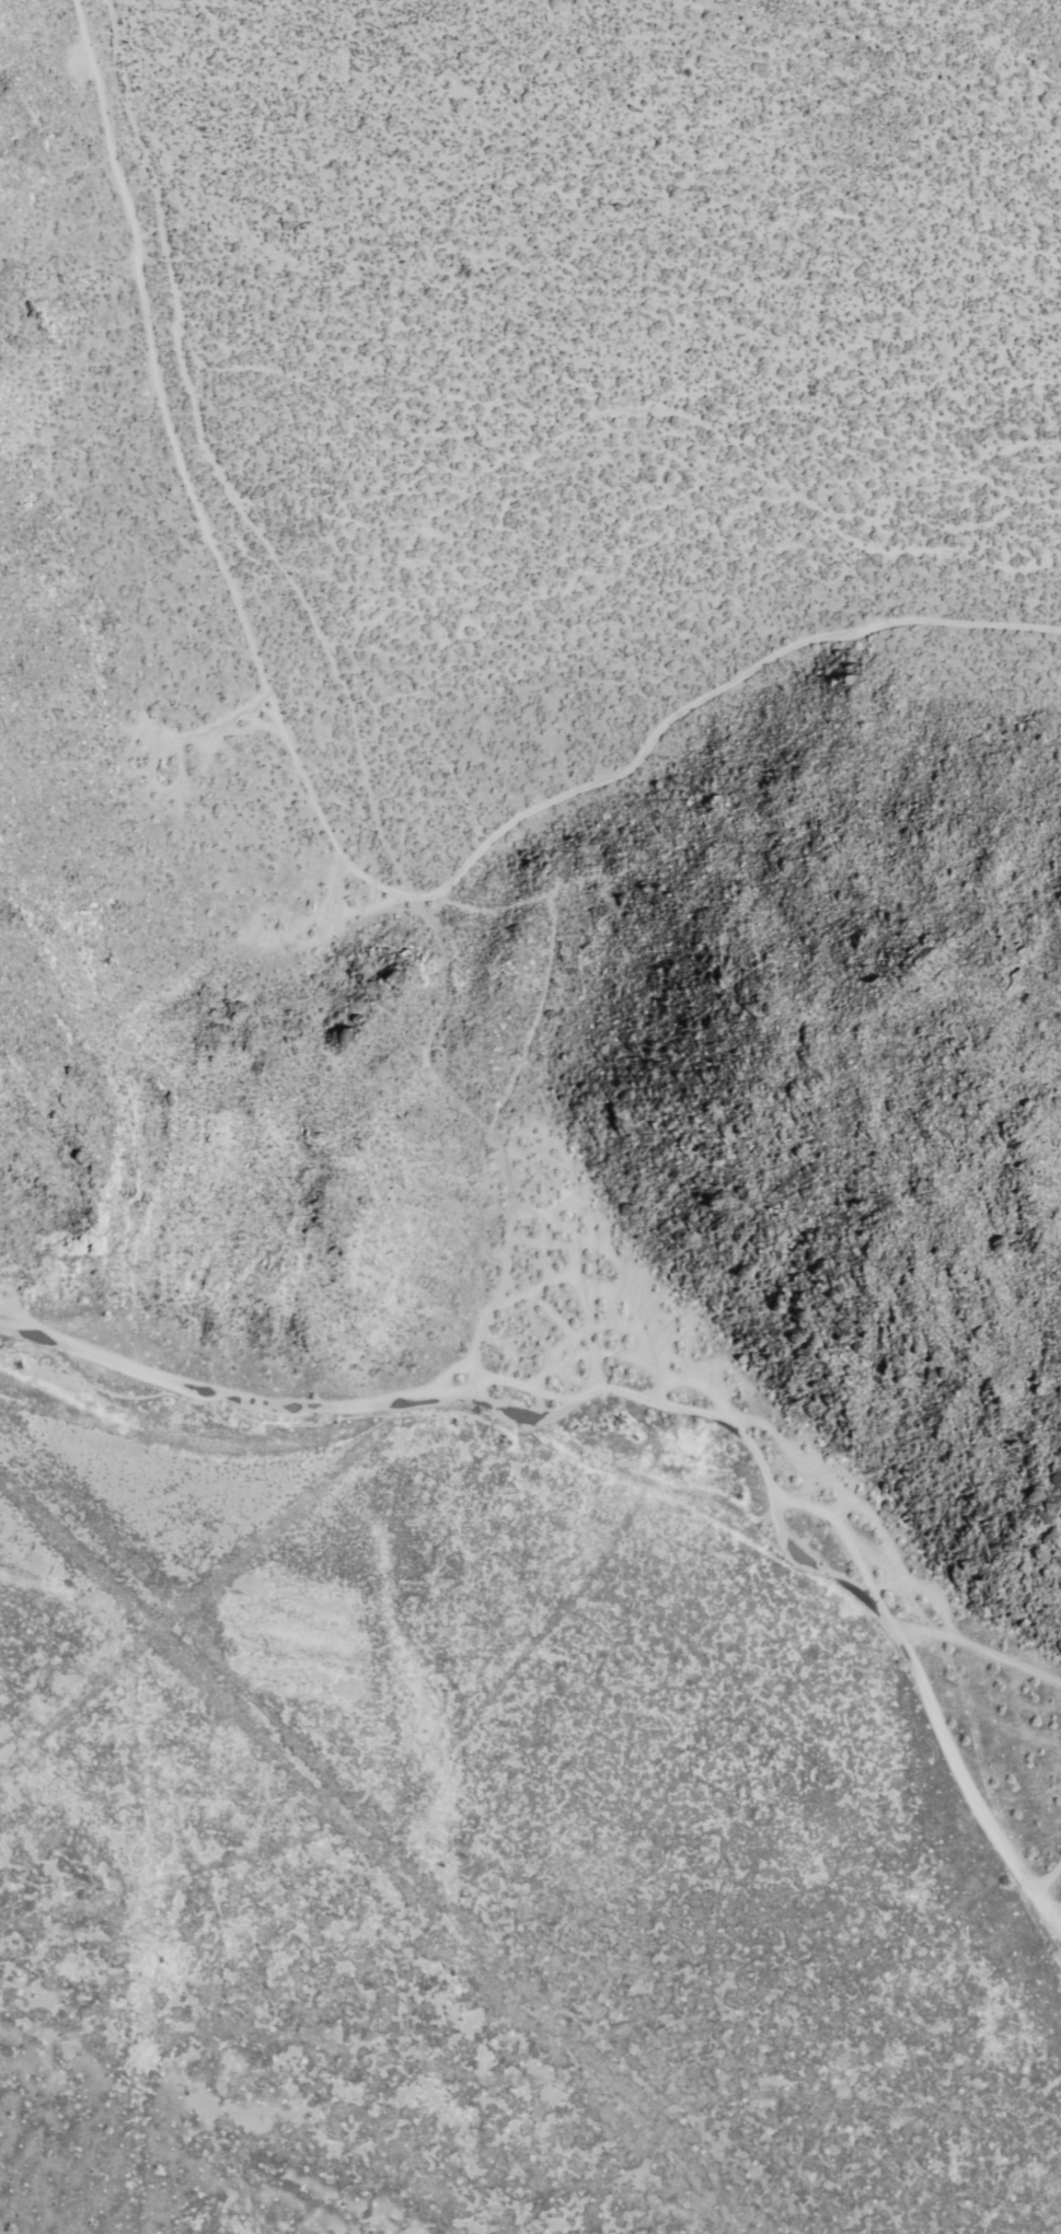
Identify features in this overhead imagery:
road: (326, 655)
road: (322, 820)
road: (489, 1306)
road: (471, 1371)
road: (666, 1407)
road: (388, 1422)
airport runway: (176, 1606)
road: (979, 1646)
airport runway: (351, 1833)
road: (1048, 1876)

